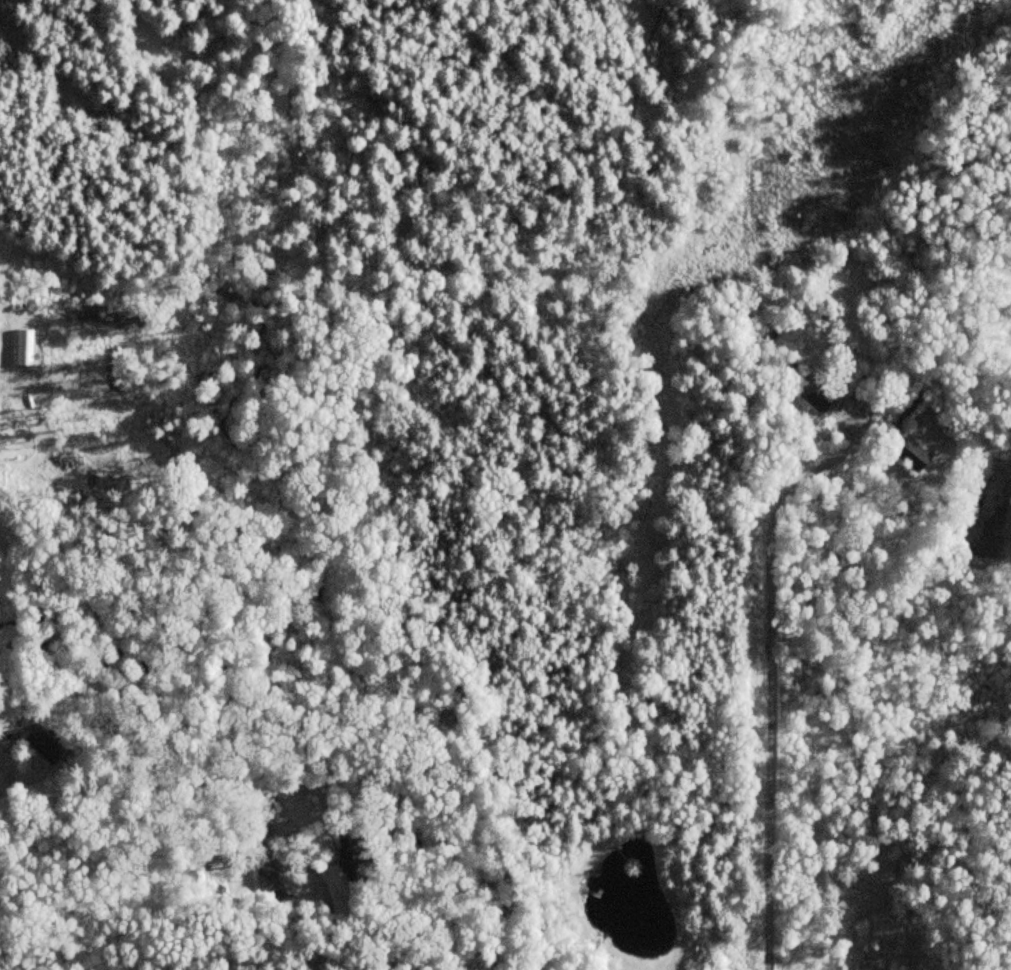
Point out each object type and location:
building: (813, 394)
building: (912, 401)
building: (910, 456)
road: (744, 665)
building: (40, 747)
building: (344, 859)
building: (264, 871)

